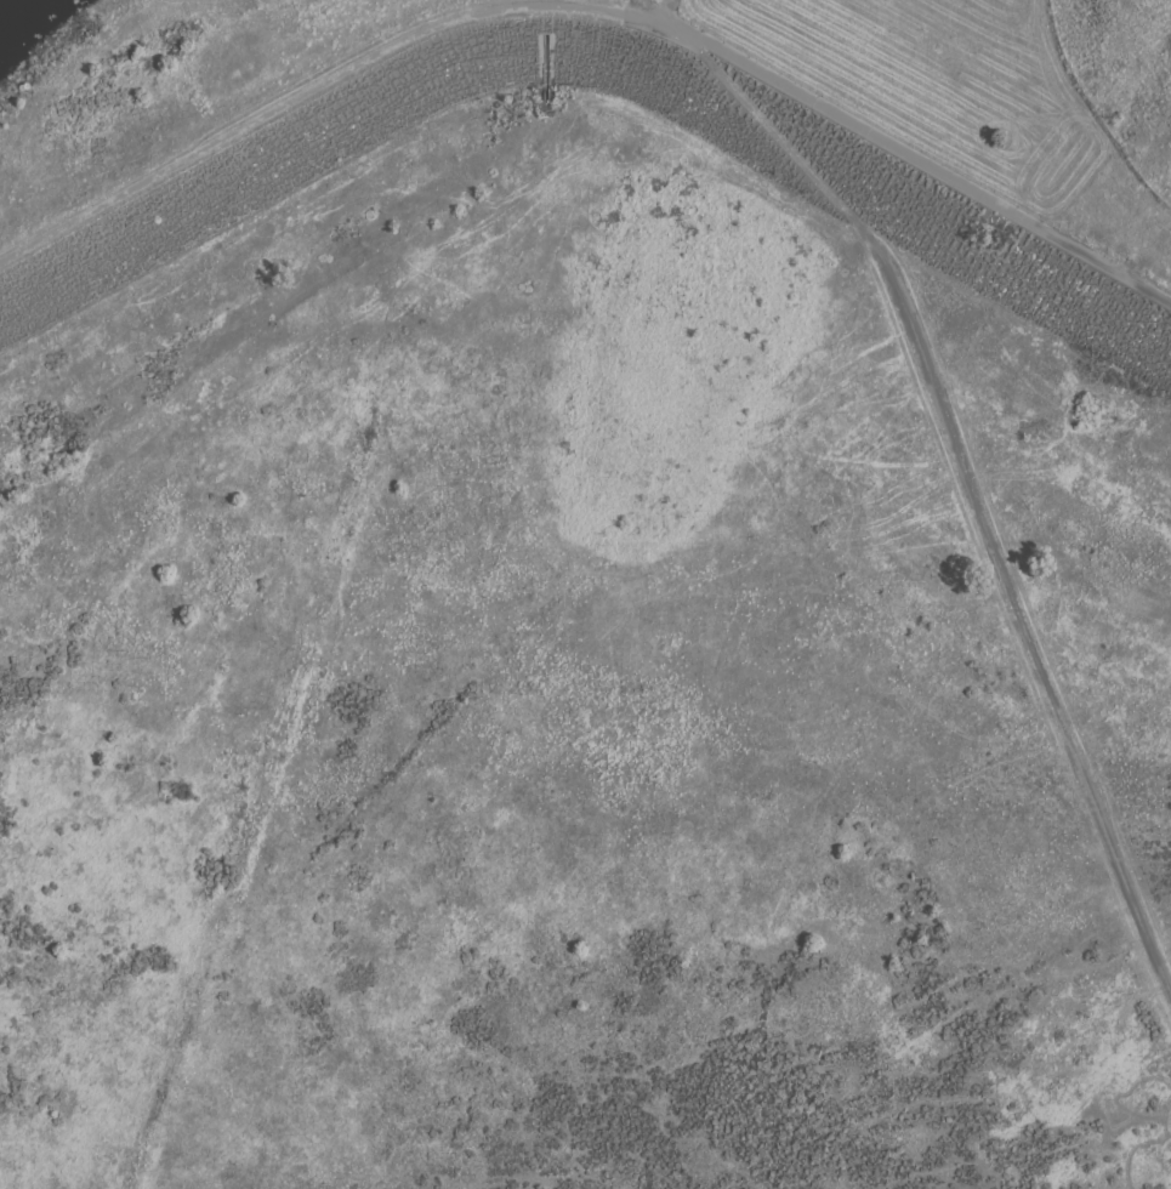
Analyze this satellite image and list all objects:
road: (595, 5)
road: (591, 8)
road: (666, 8)
road: (965, 476)

